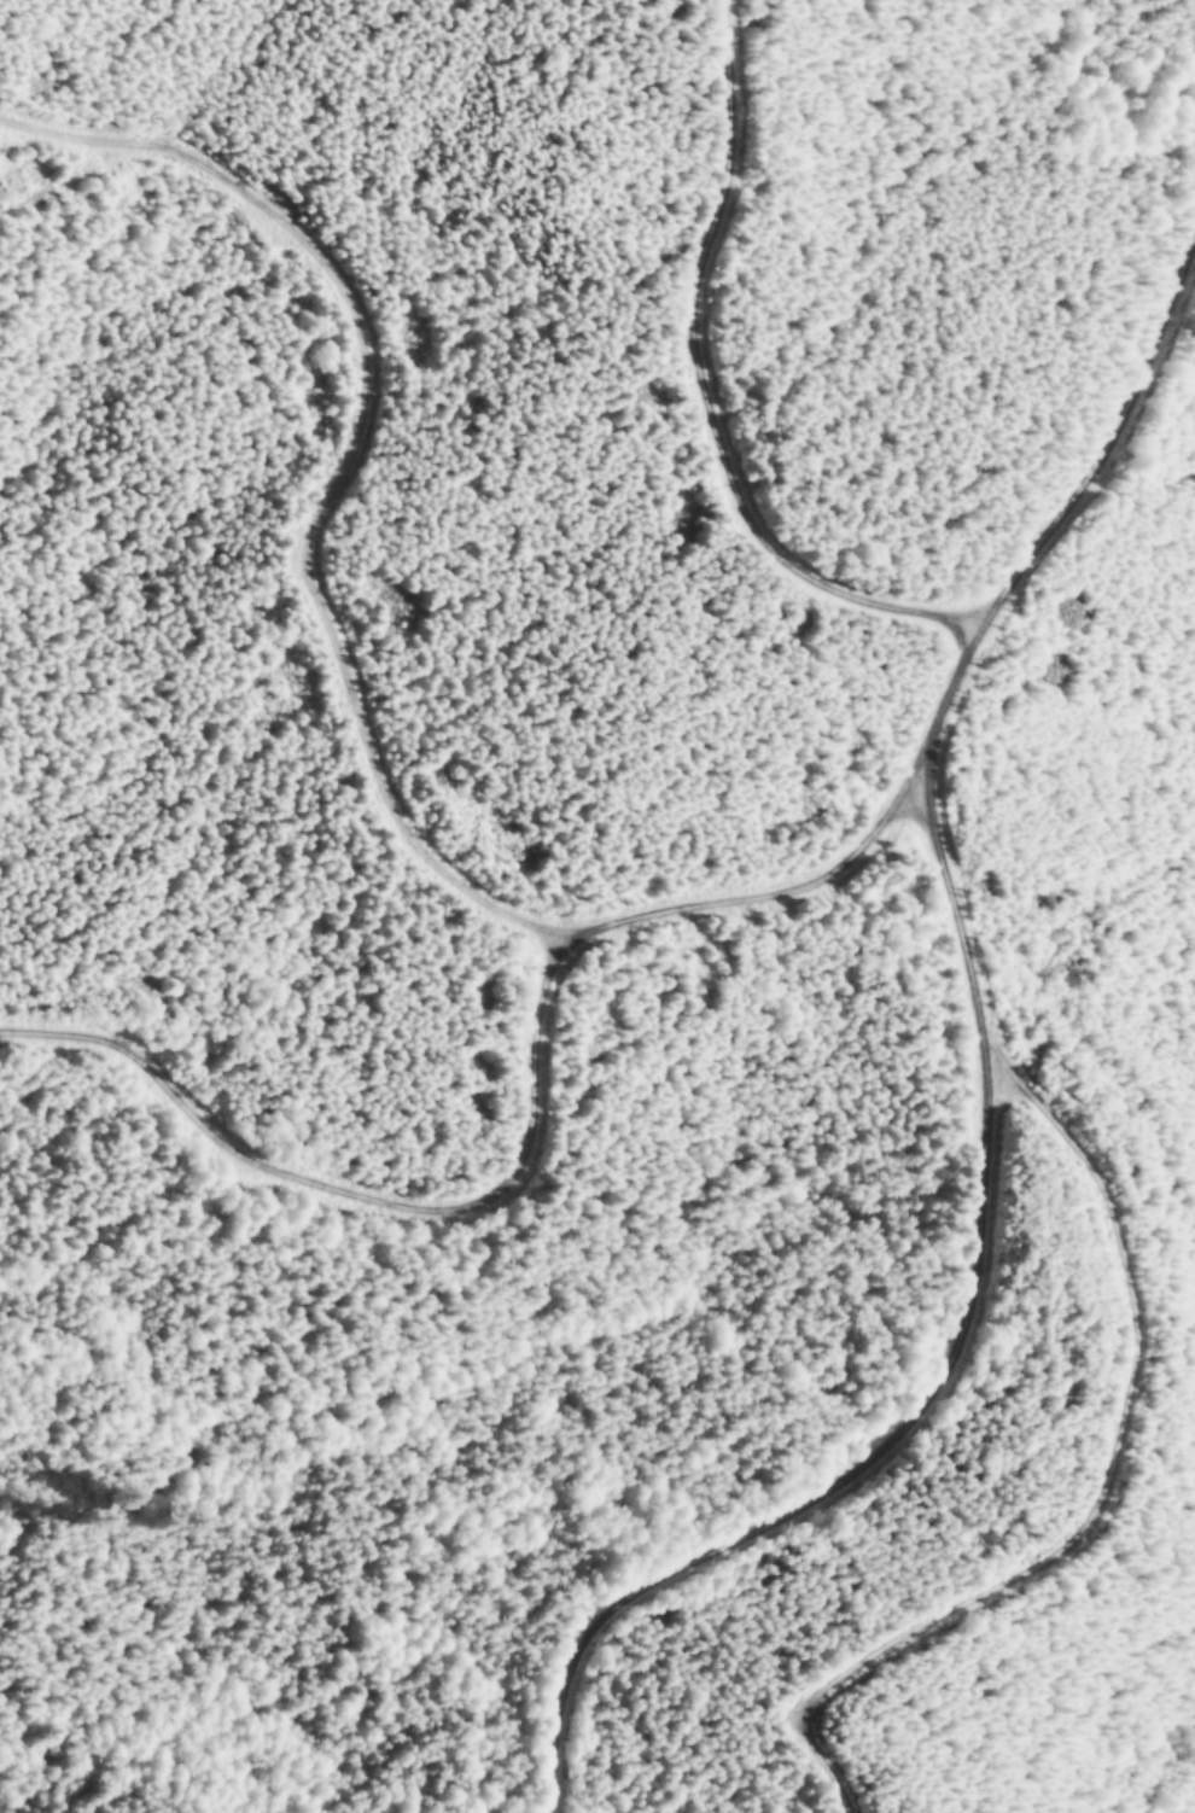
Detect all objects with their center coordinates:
road: (721, 409)
road: (1109, 418)
road: (357, 637)
road: (400, 1196)
road: (949, 1261)

